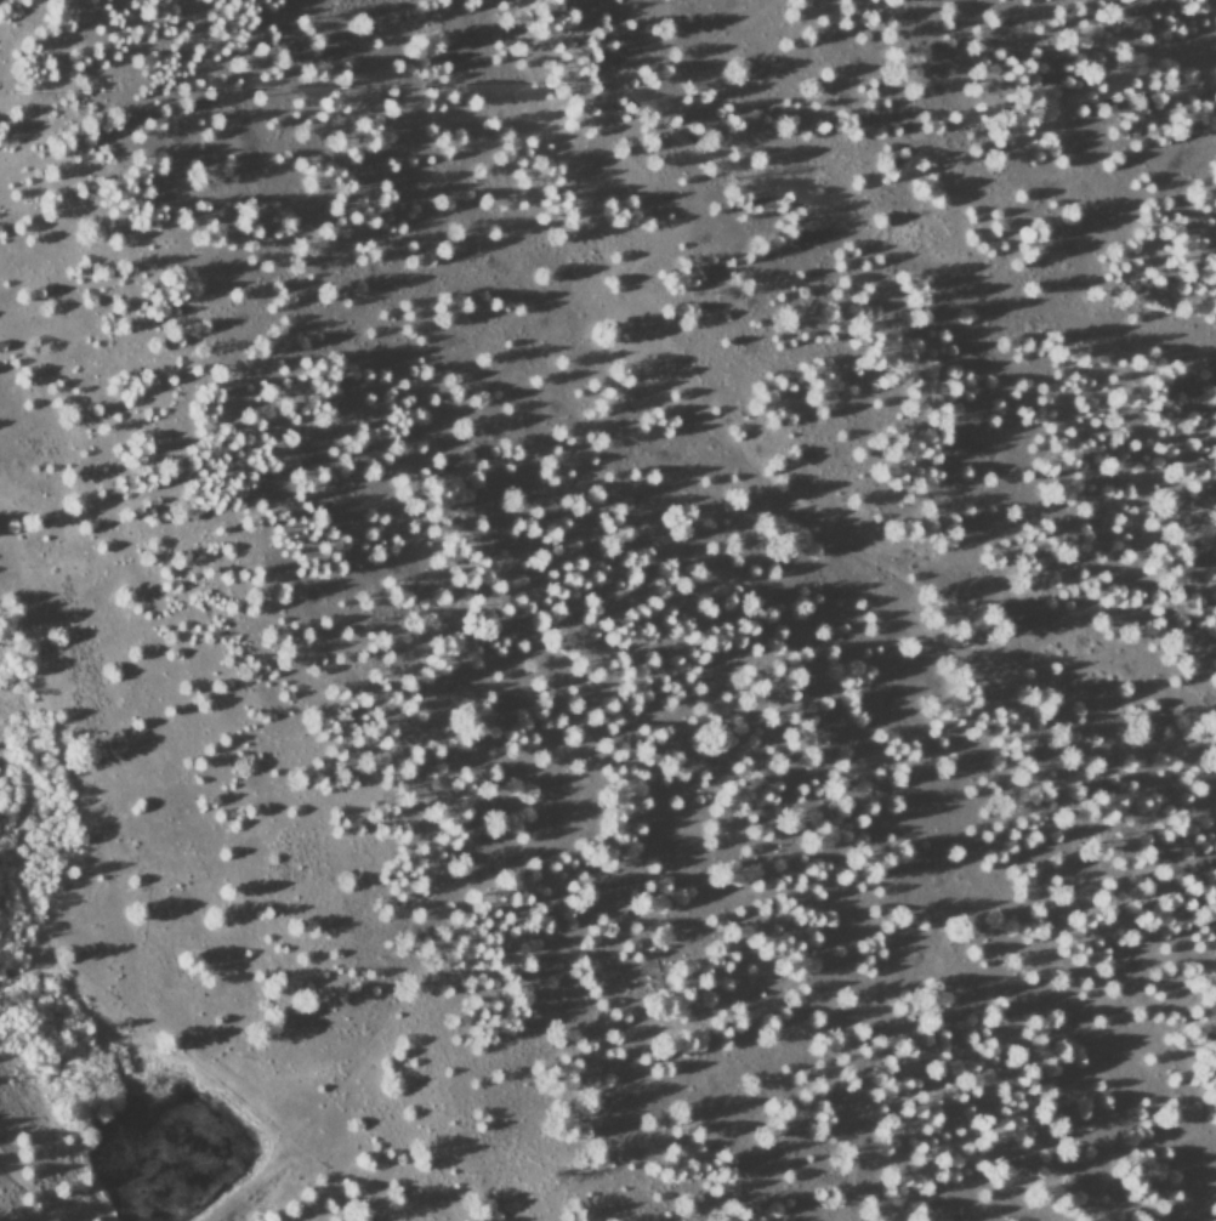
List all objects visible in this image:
road: (55, 979)

